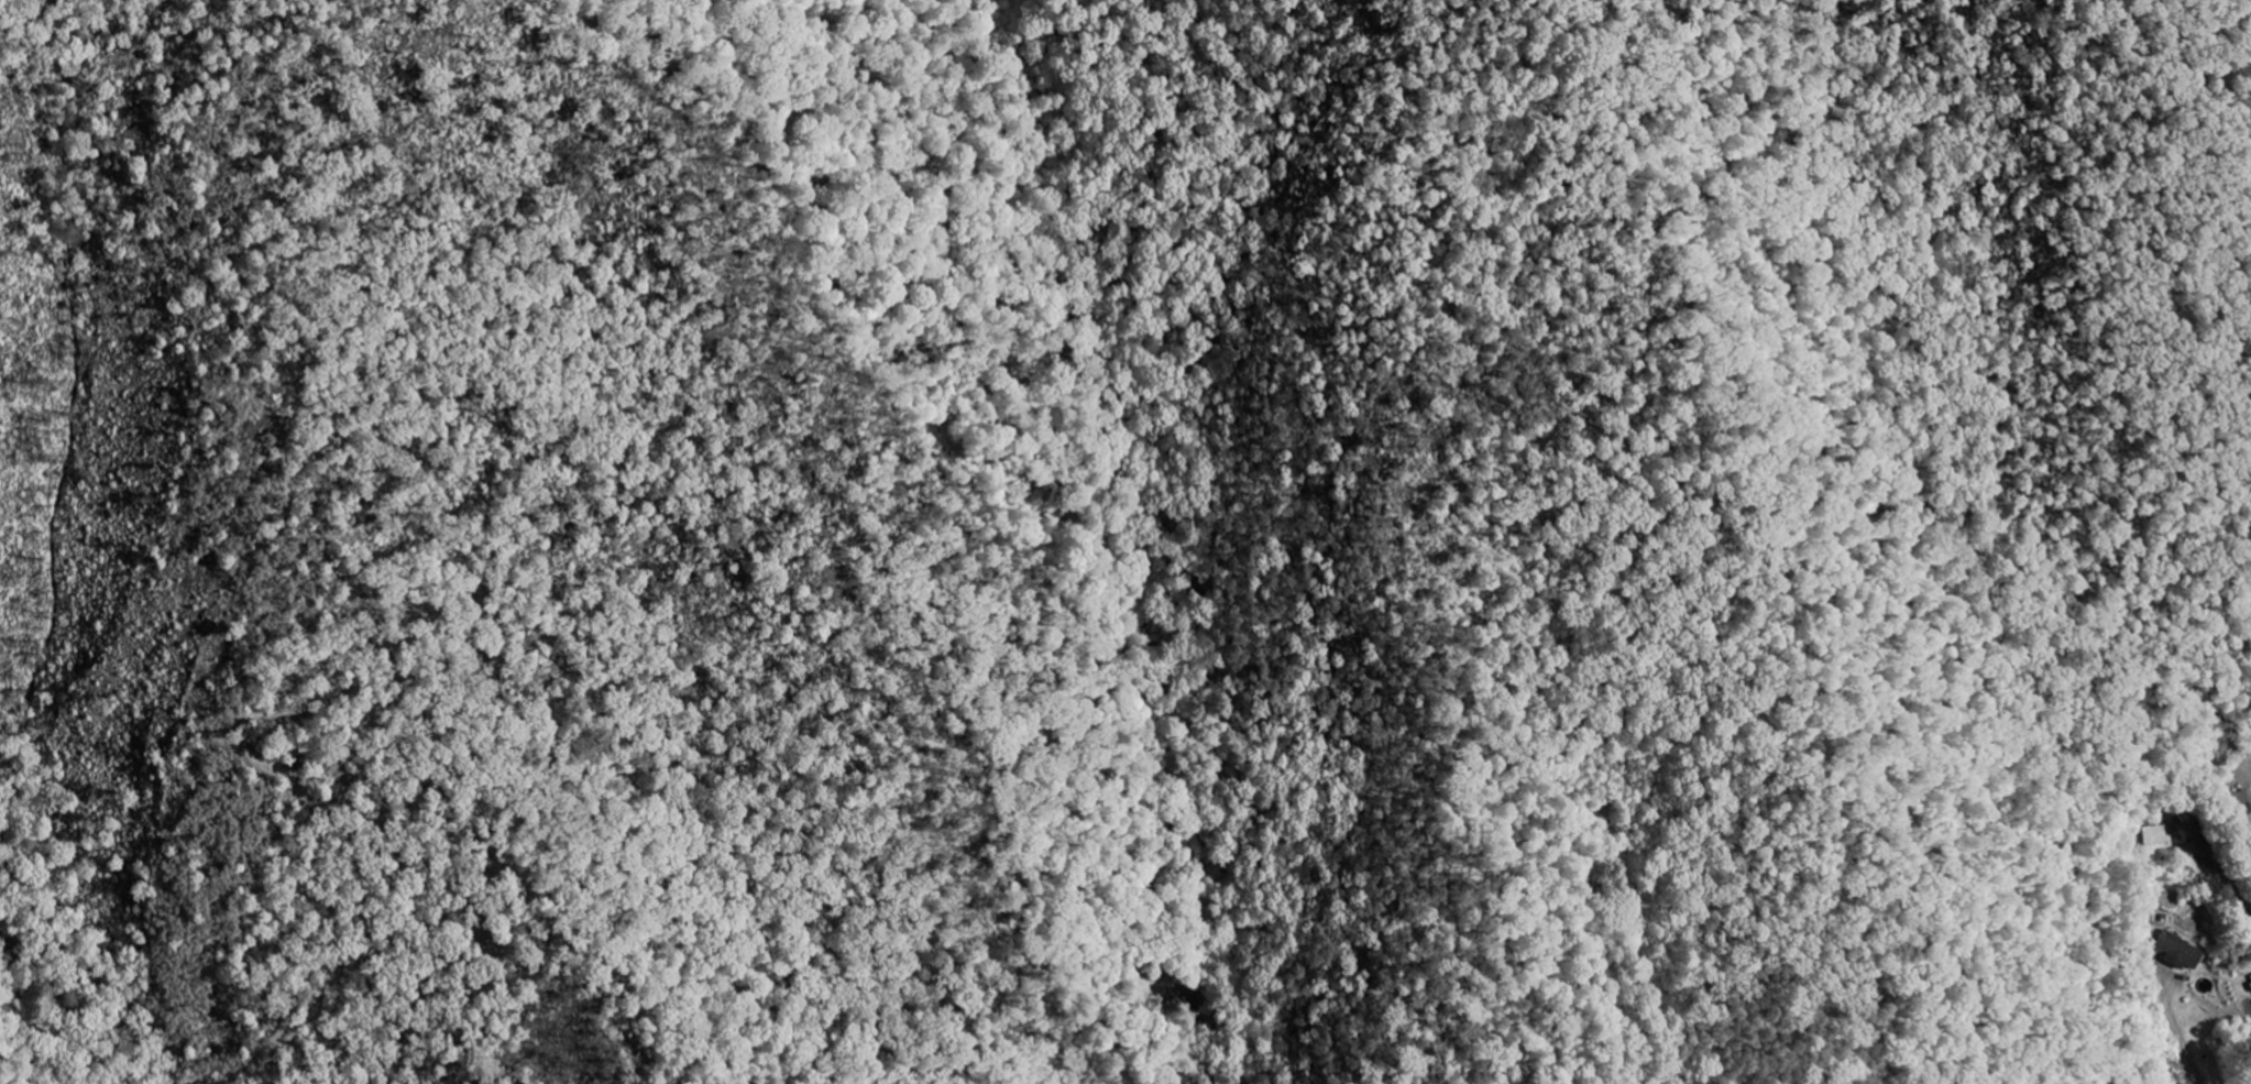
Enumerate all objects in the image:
building: (2240, 802)
building: (2153, 834)
building: (2176, 951)
building: (2249, 985)

